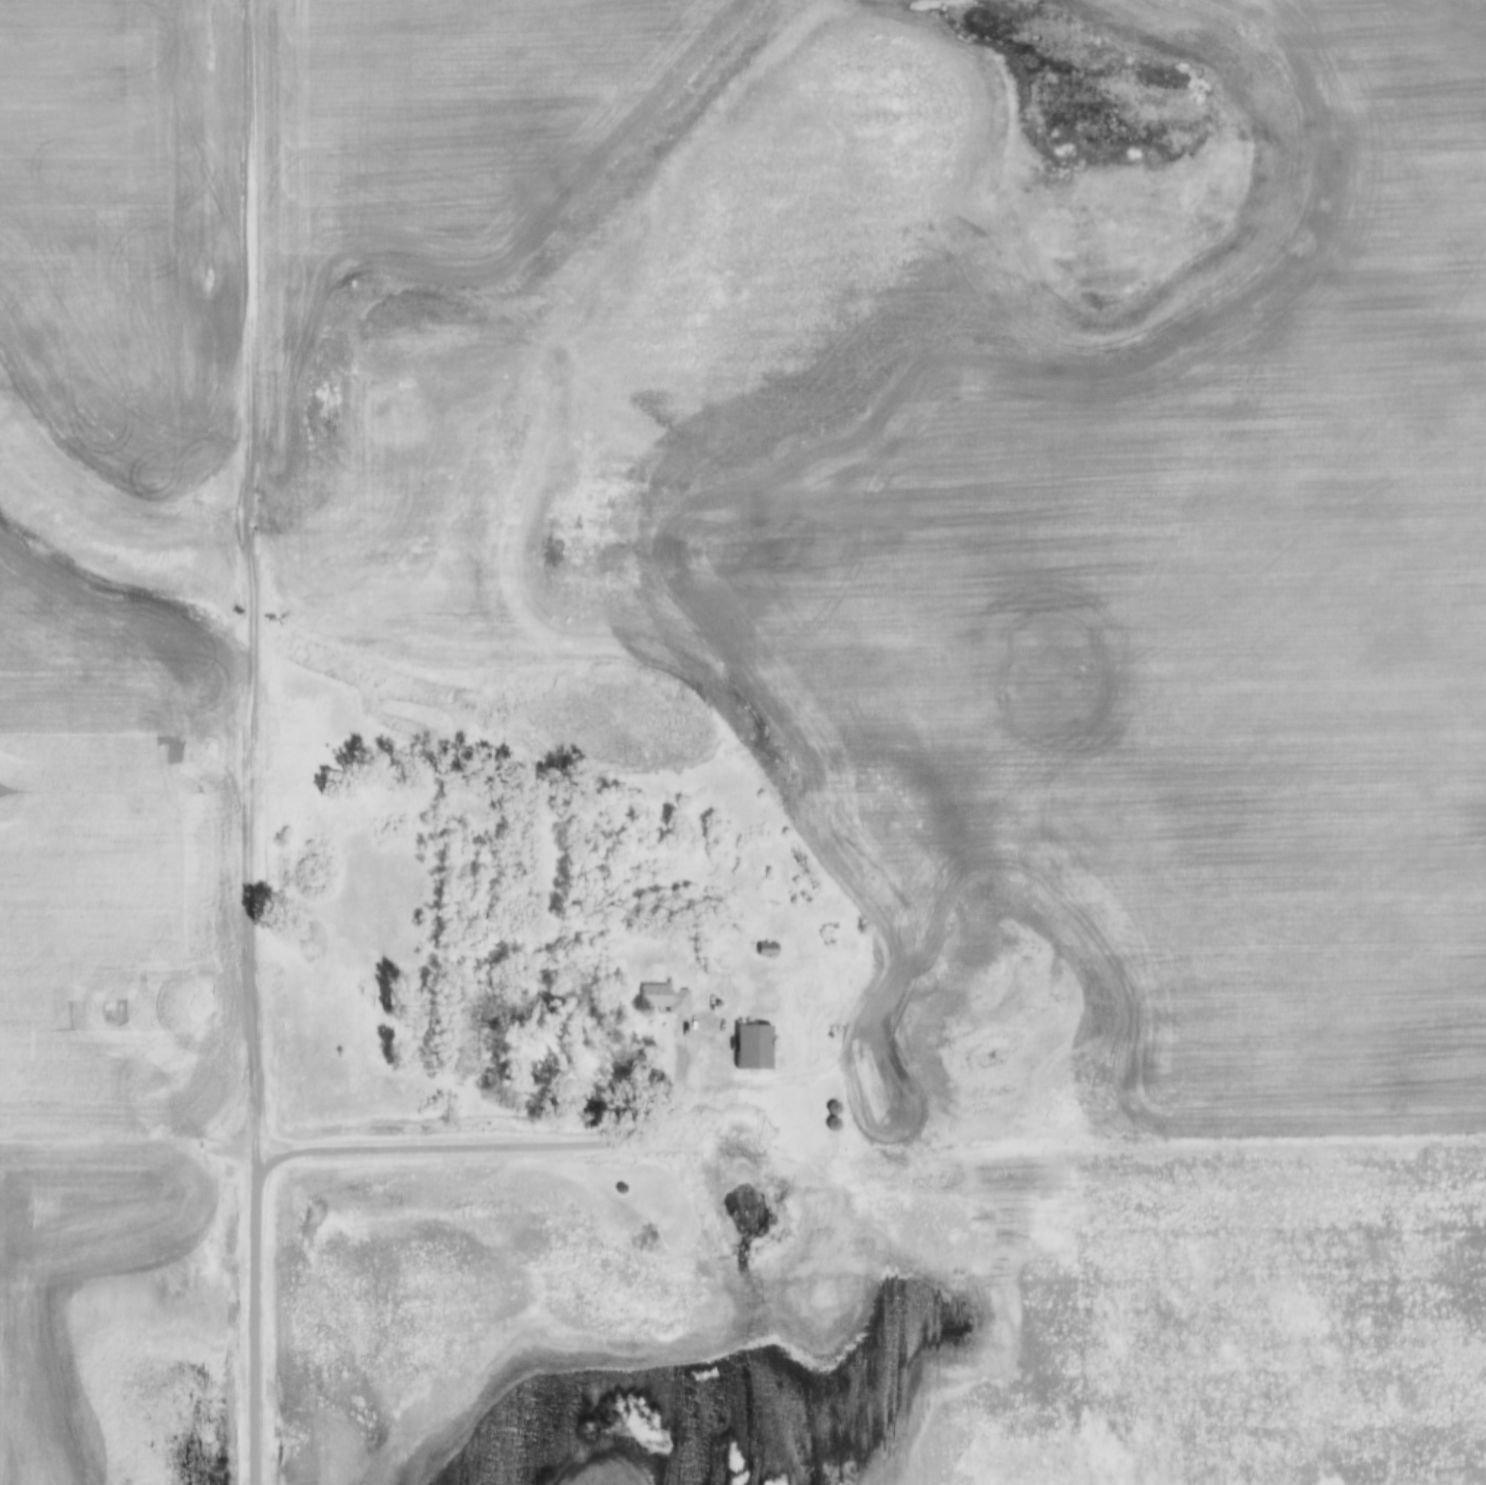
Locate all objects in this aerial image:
road: (259, 573)
building: (762, 953)
building: (663, 1000)
building: (749, 1049)
road: (516, 1142)
road: (260, 1316)

